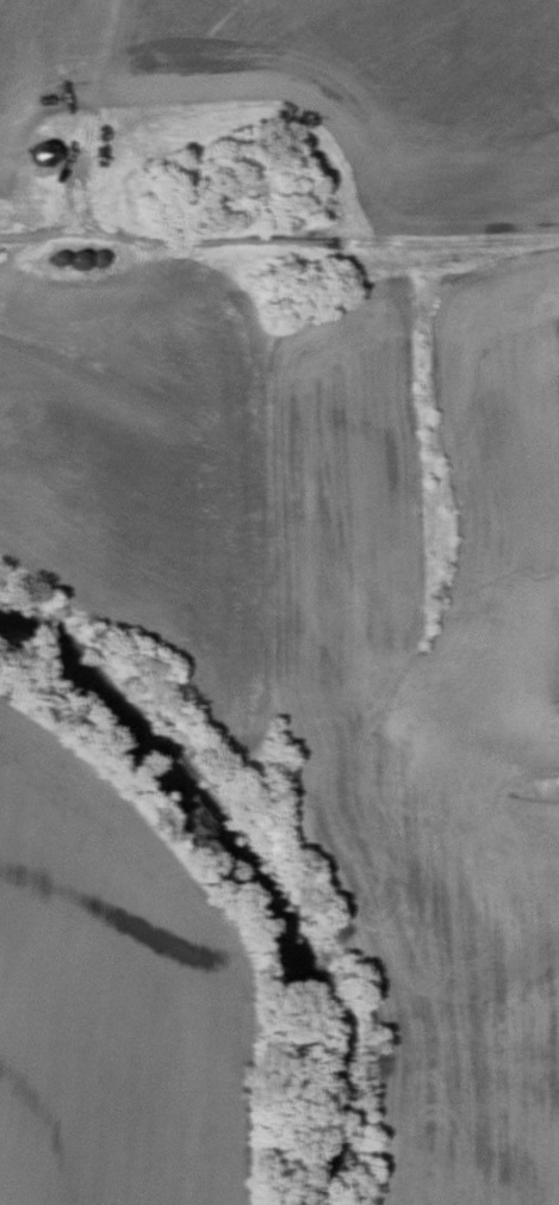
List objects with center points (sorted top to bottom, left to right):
building: (92, 260)

